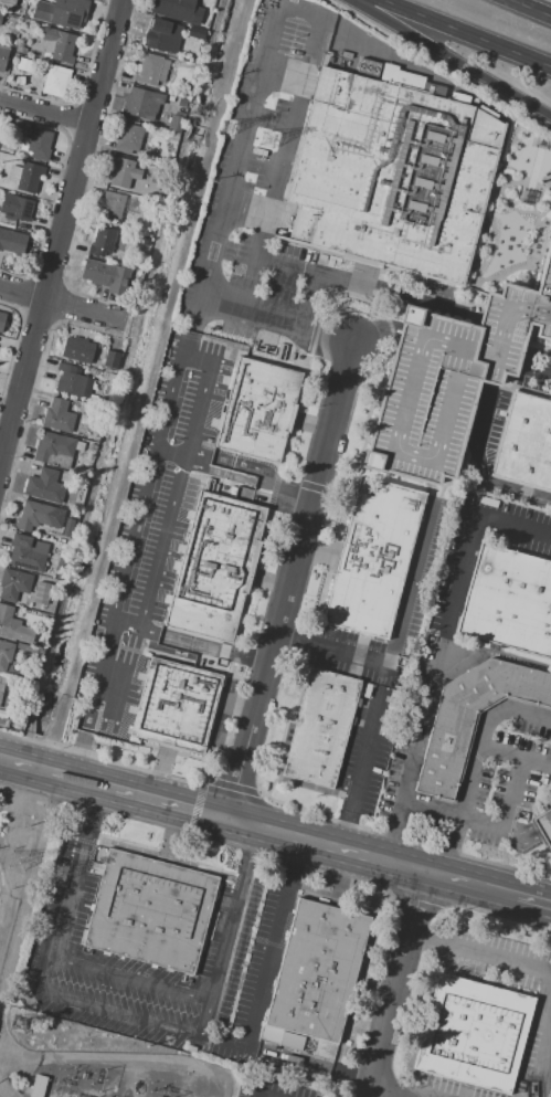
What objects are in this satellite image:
road: (531, 8)
building: (178, 11)
building: (61, 13)
building: (0, 15)
road: (467, 33)
building: (162, 38)
building: (59, 44)
building: (21, 50)
road: (452, 56)
building: (2, 57)
building: (20, 63)
building: (150, 71)
building: (56, 81)
road: (254, 101)
building: (141, 104)
building: (182, 104)
road: (44, 113)
building: (173, 124)
power tower: (231, 127)
building: (128, 139)
power tower: (266, 140)
building: (36, 145)
building: (8, 149)
building: (121, 172)
building: (14, 173)
building: (30, 177)
building: (392, 178)
building: (112, 205)
building: (17, 207)
road: (61, 231)
building: (11, 241)
building: (146, 241)
building: (103, 242)
road: (255, 251)
building: (106, 275)
road: (254, 300)
road: (63, 304)
road: (309, 305)
building: (2, 319)
road: (250, 321)
road: (327, 334)
road: (506, 335)
building: (77, 349)
building: (112, 360)
road: (533, 369)
road: (496, 375)
building: (72, 380)
building: (448, 381)
building: (259, 412)
building: (57, 415)
road: (483, 423)
building: (96, 437)
building: (80, 446)
road: (173, 446)
building: (524, 446)
building: (92, 447)
building: (54, 450)
road: (170, 458)
road: (235, 462)
road: (224, 474)
road: (182, 483)
building: (45, 486)
road: (288, 489)
road: (144, 492)
building: (35, 516)
building: (68, 525)
building: (28, 552)
building: (375, 560)
building: (60, 567)
building: (215, 568)
building: (59, 576)
road: (293, 580)
building: (13, 584)
building: (42, 593)
building: (31, 598)
building: (508, 601)
building: (18, 627)
road: (398, 639)
road: (106, 646)
road: (190, 646)
building: (39, 652)
road: (443, 653)
building: (6, 655)
building: (0, 677)
building: (31, 677)
building: (1, 688)
road: (93, 705)
building: (177, 706)
road: (109, 716)
building: (471, 719)
building: (4, 722)
building: (322, 729)
road: (516, 758)
road: (476, 767)
road: (56, 771)
road: (359, 778)
road: (174, 804)
road: (489, 822)
road: (246, 824)
building: (543, 829)
road: (527, 837)
road: (371, 856)
power tower: (15, 868)
power tower: (59, 874)
road: (501, 890)
road: (534, 899)
building: (150, 911)
building: (318, 970)
road: (541, 970)
road: (134, 978)
road: (402, 984)
road: (256, 1010)
road: (123, 1012)
power tower: (21, 1025)
building: (474, 1034)
building: (324, 1048)
power substation: (123, 1076)
building: (36, 1086)

